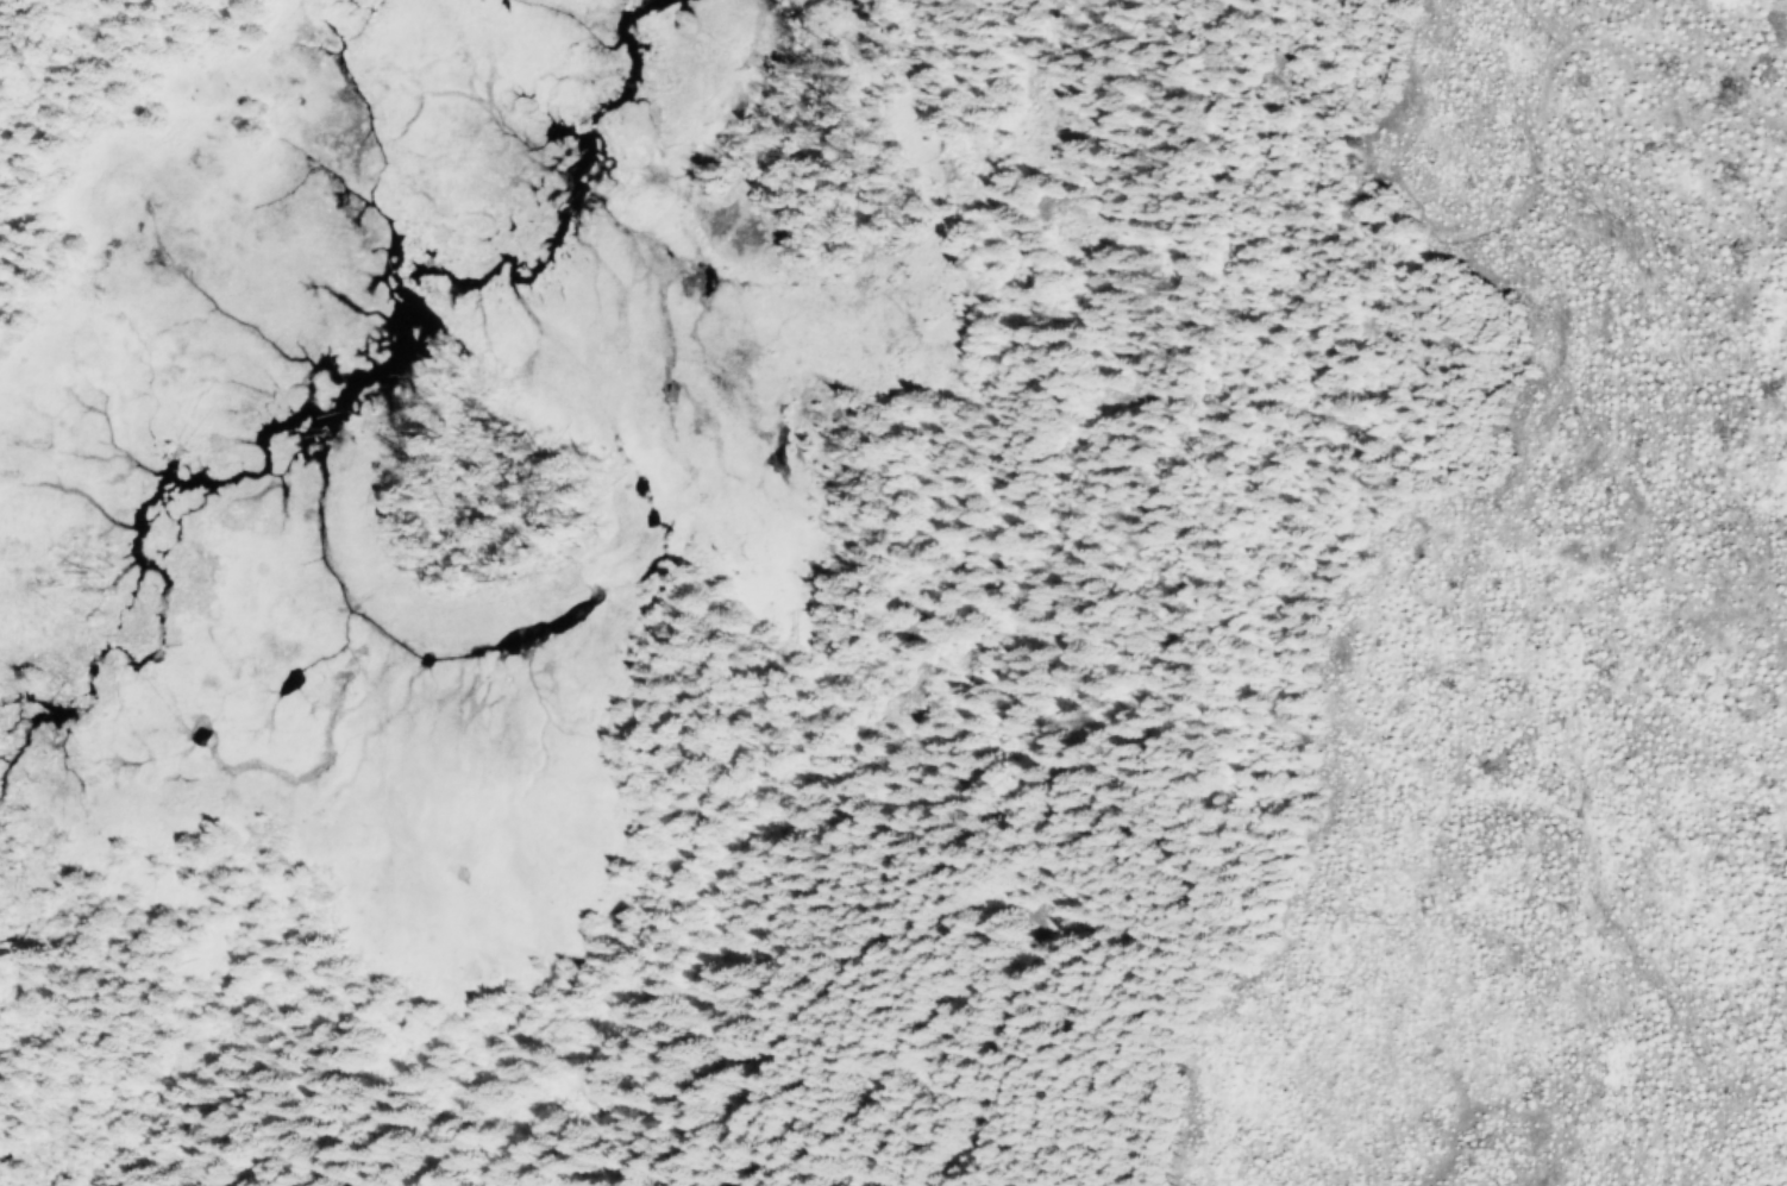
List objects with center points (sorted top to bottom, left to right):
road: (1072, 820)

